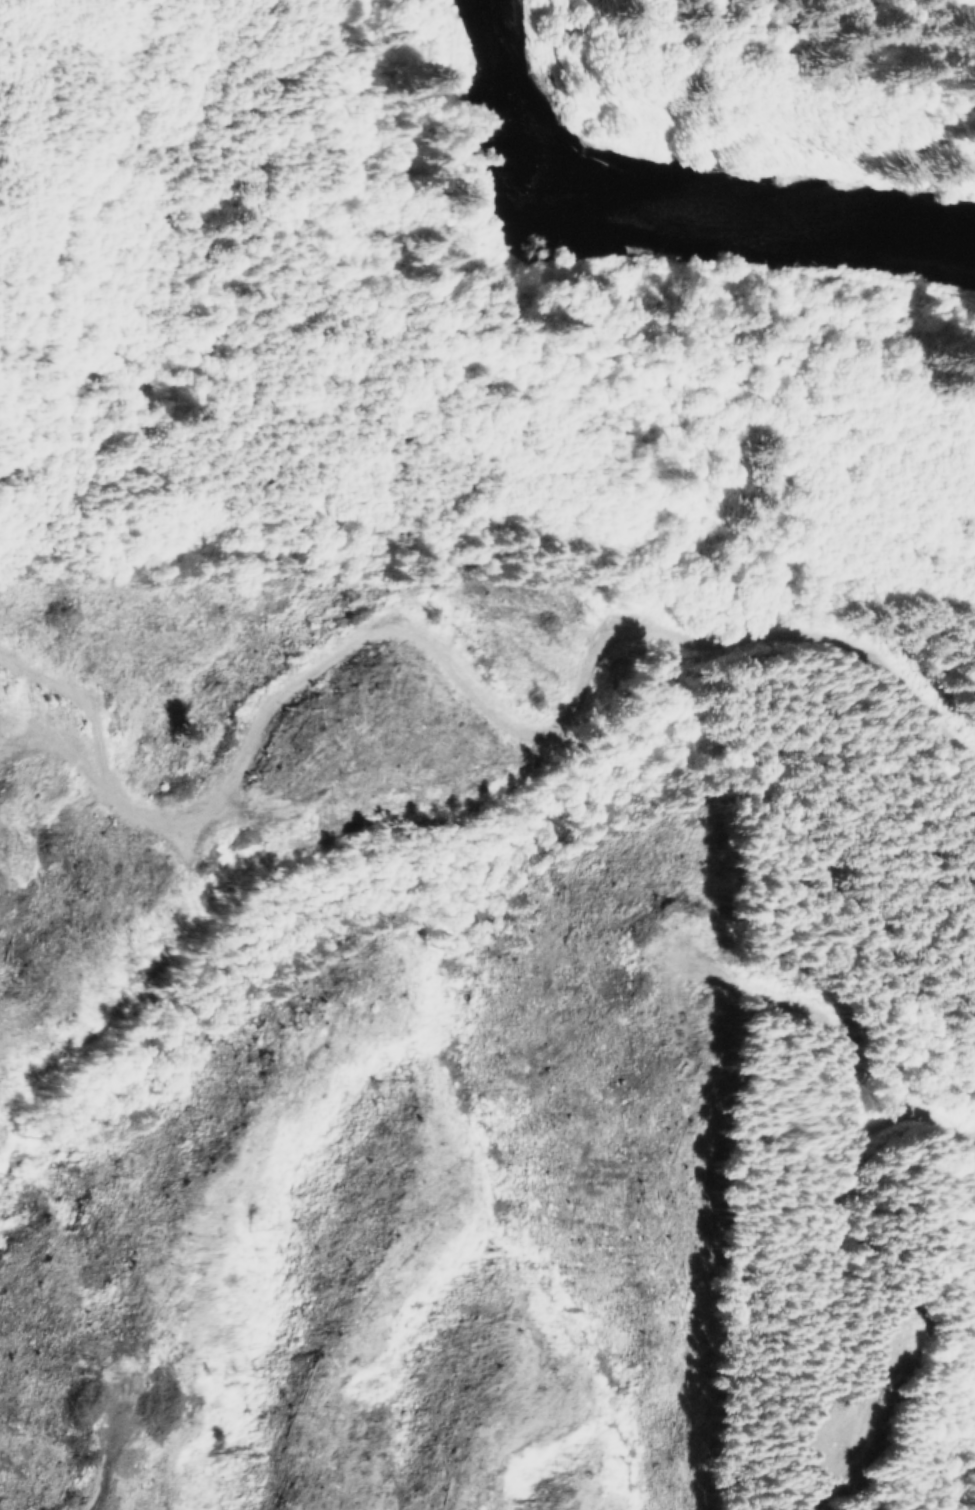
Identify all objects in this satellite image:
river: (663, 205)
road: (543, 569)

